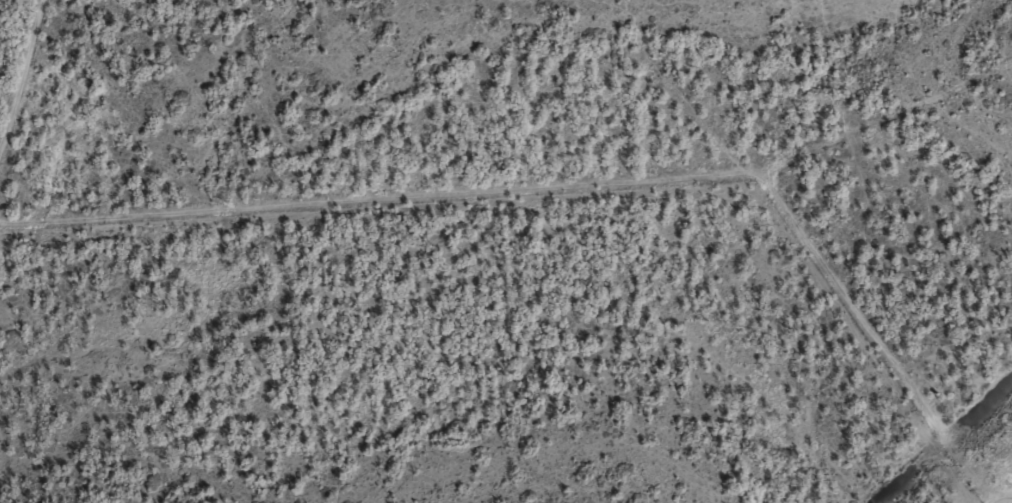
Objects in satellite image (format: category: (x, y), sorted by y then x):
road: (17, 86)

